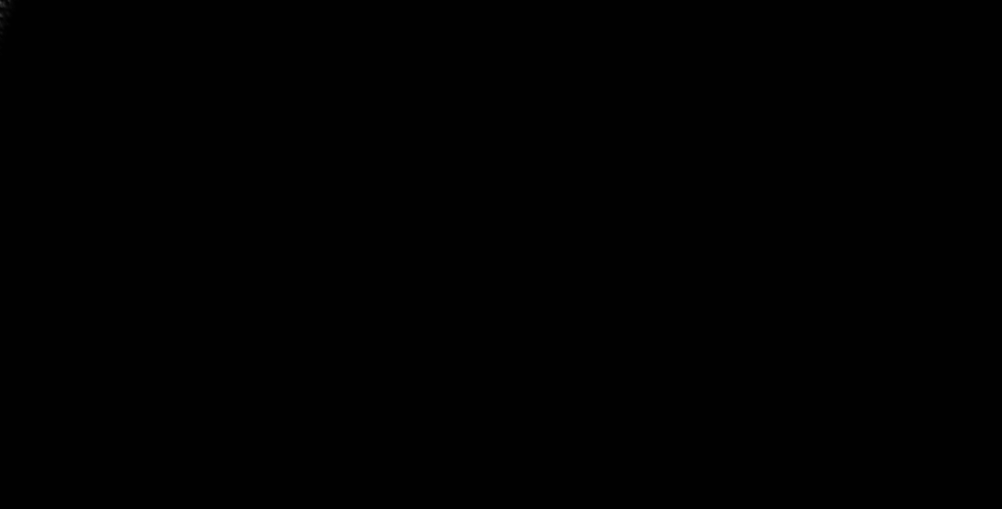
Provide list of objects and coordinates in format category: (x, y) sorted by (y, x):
river: (634, 268)

